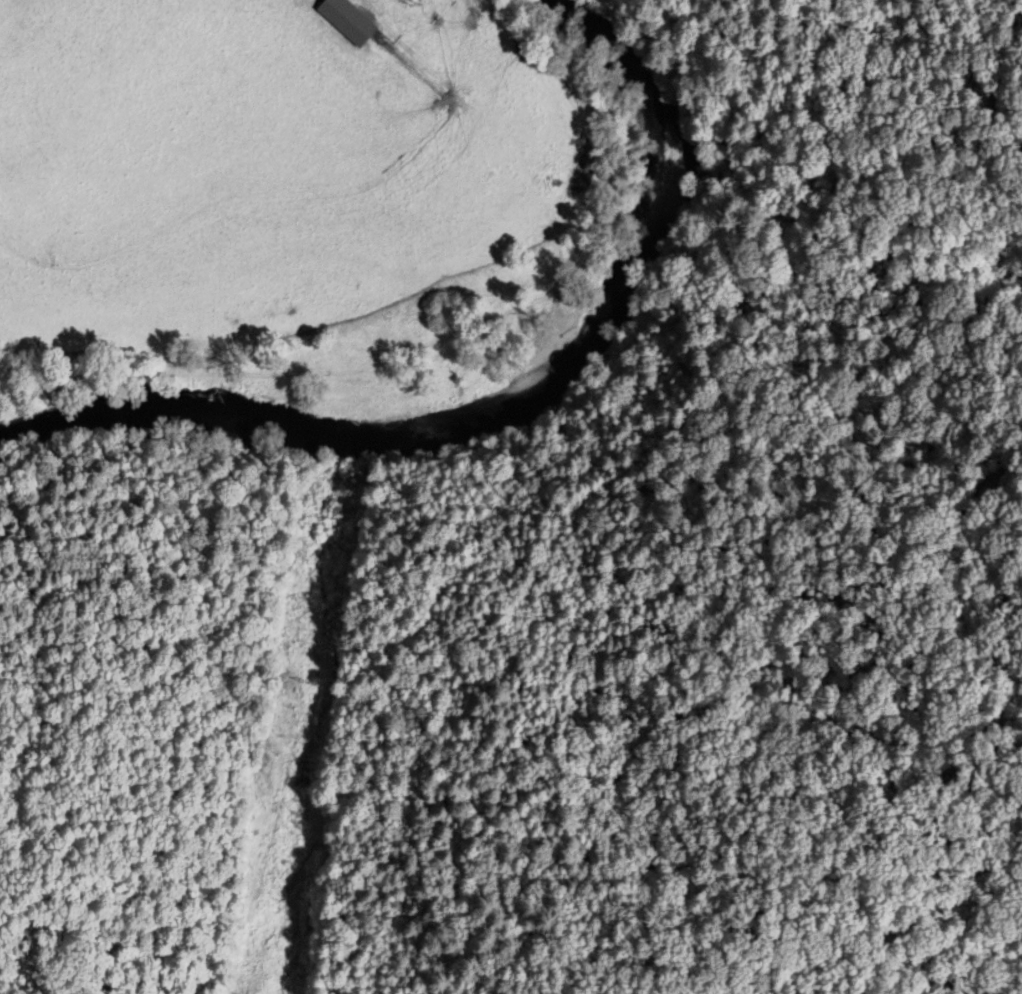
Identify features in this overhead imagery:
building: (349, 22)
river: (507, 409)

